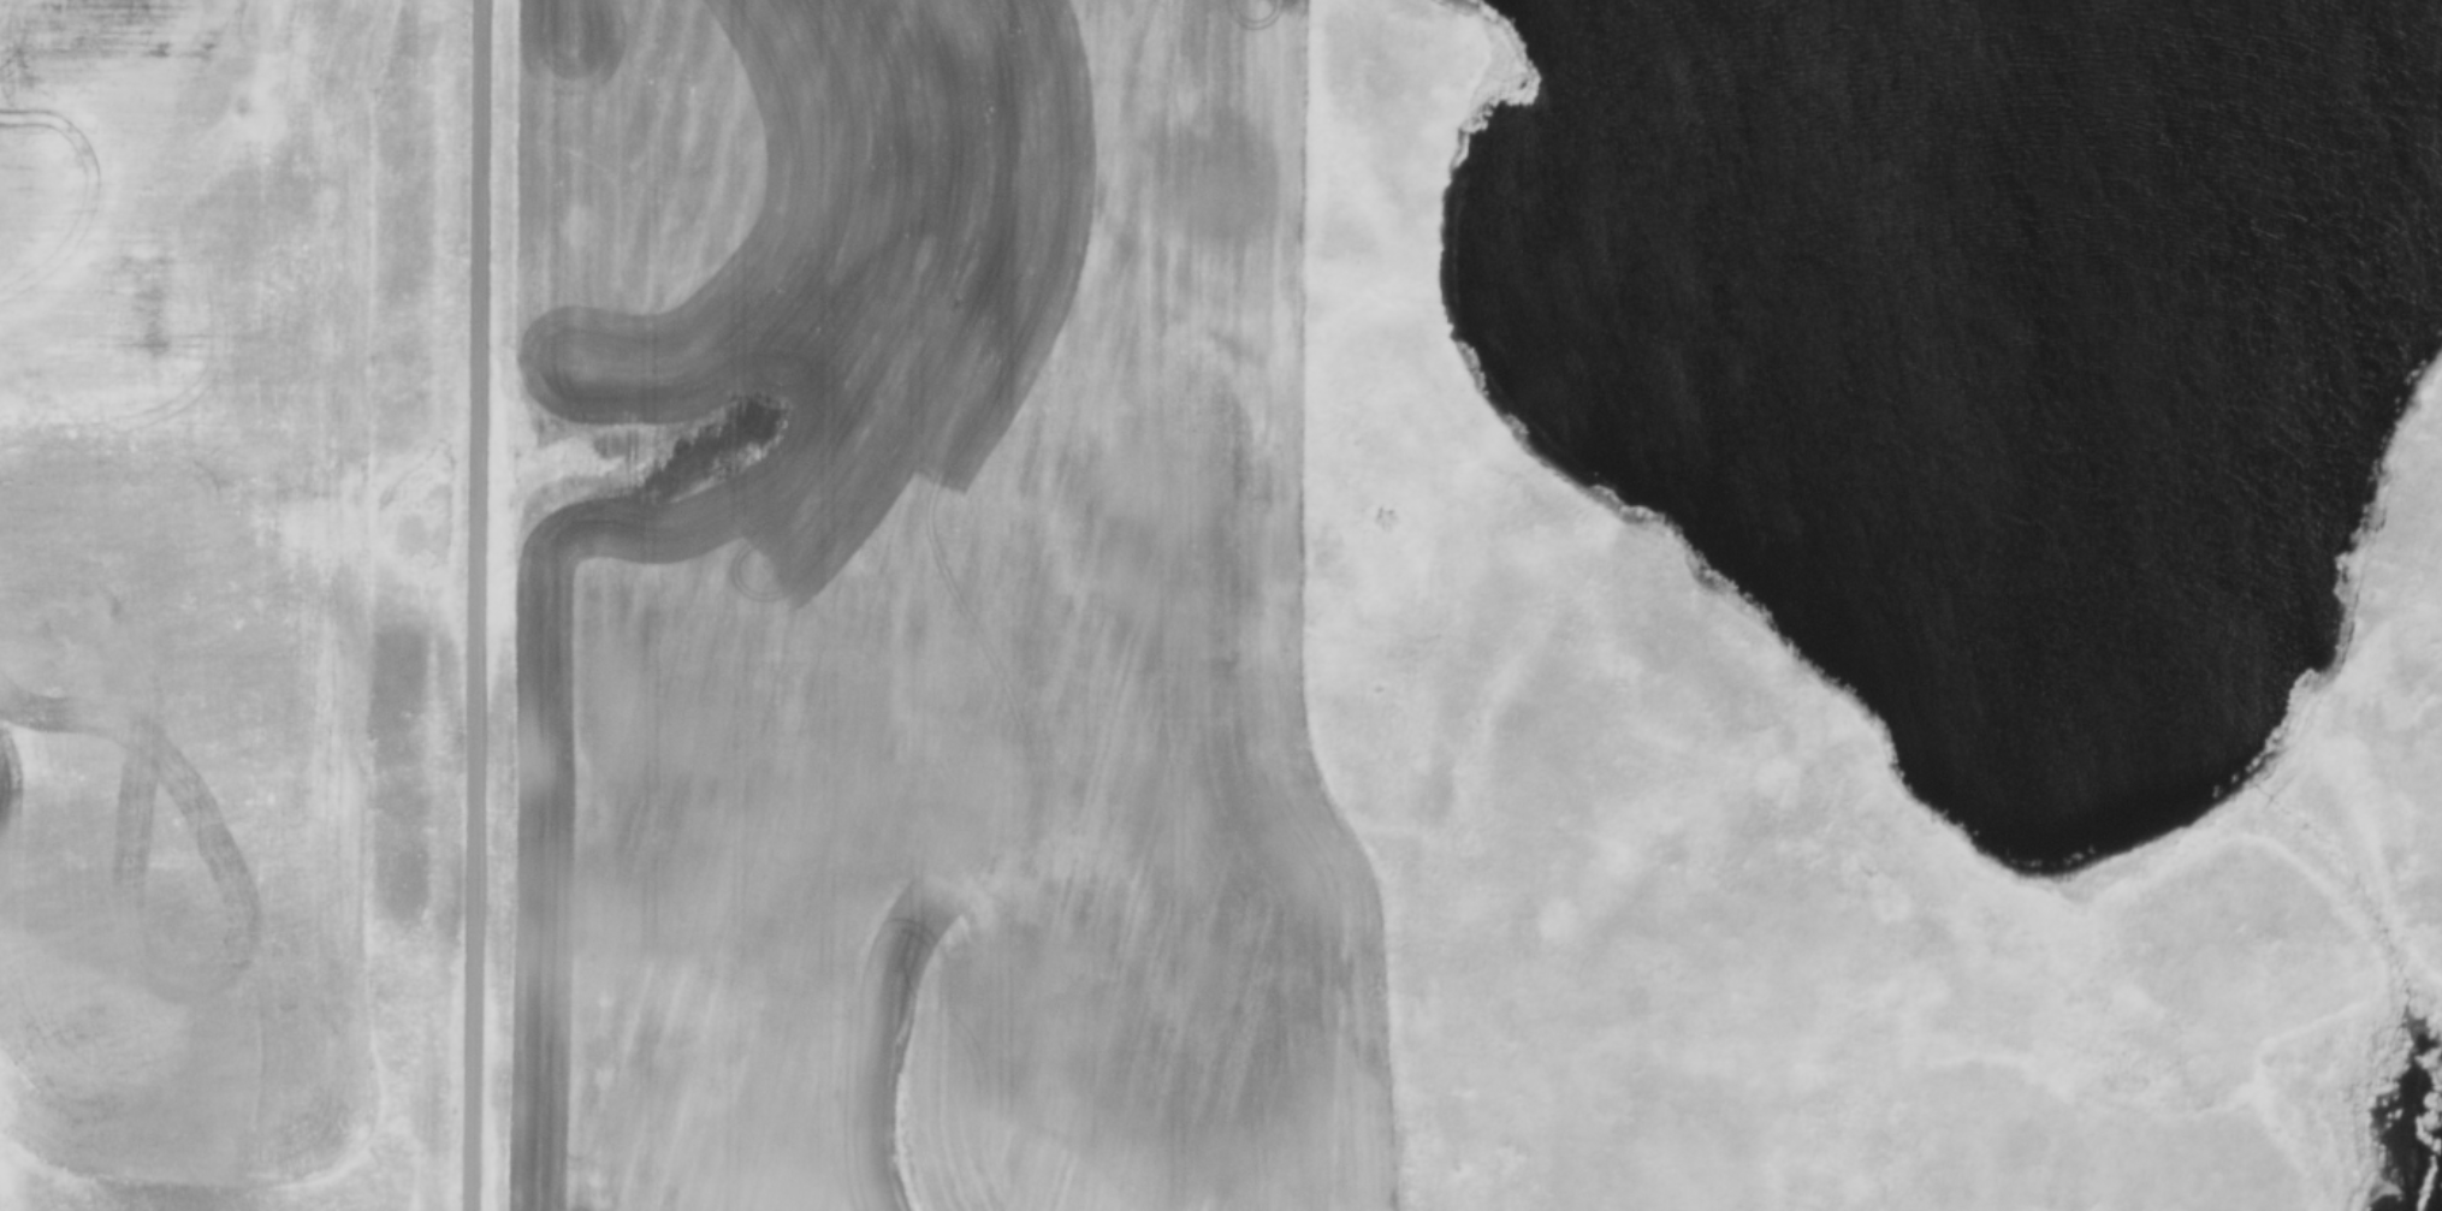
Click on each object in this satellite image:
road: (482, 605)

